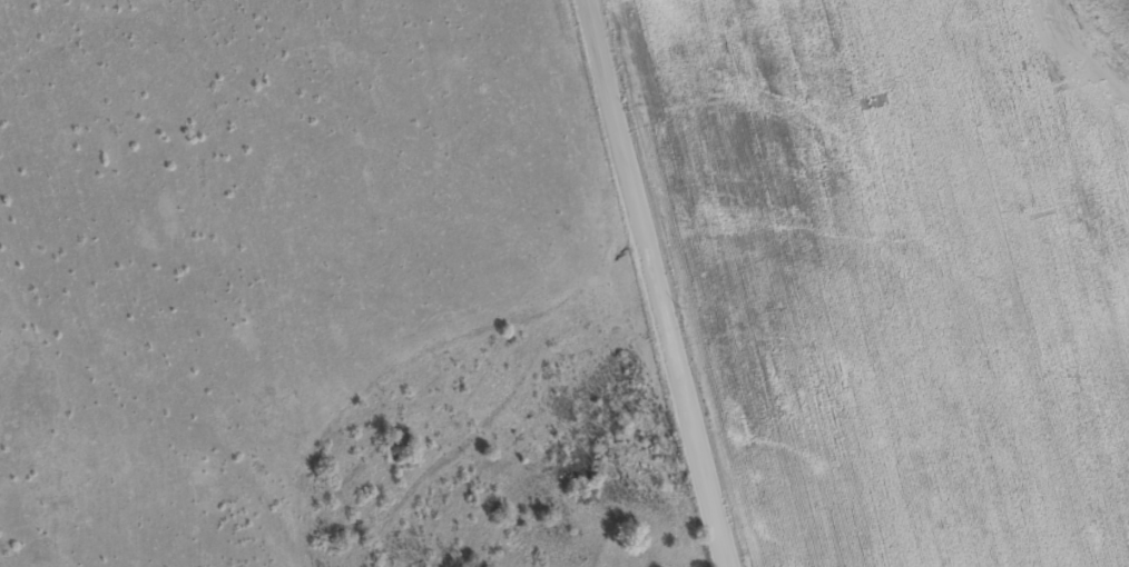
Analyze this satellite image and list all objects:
road: (669, 283)

